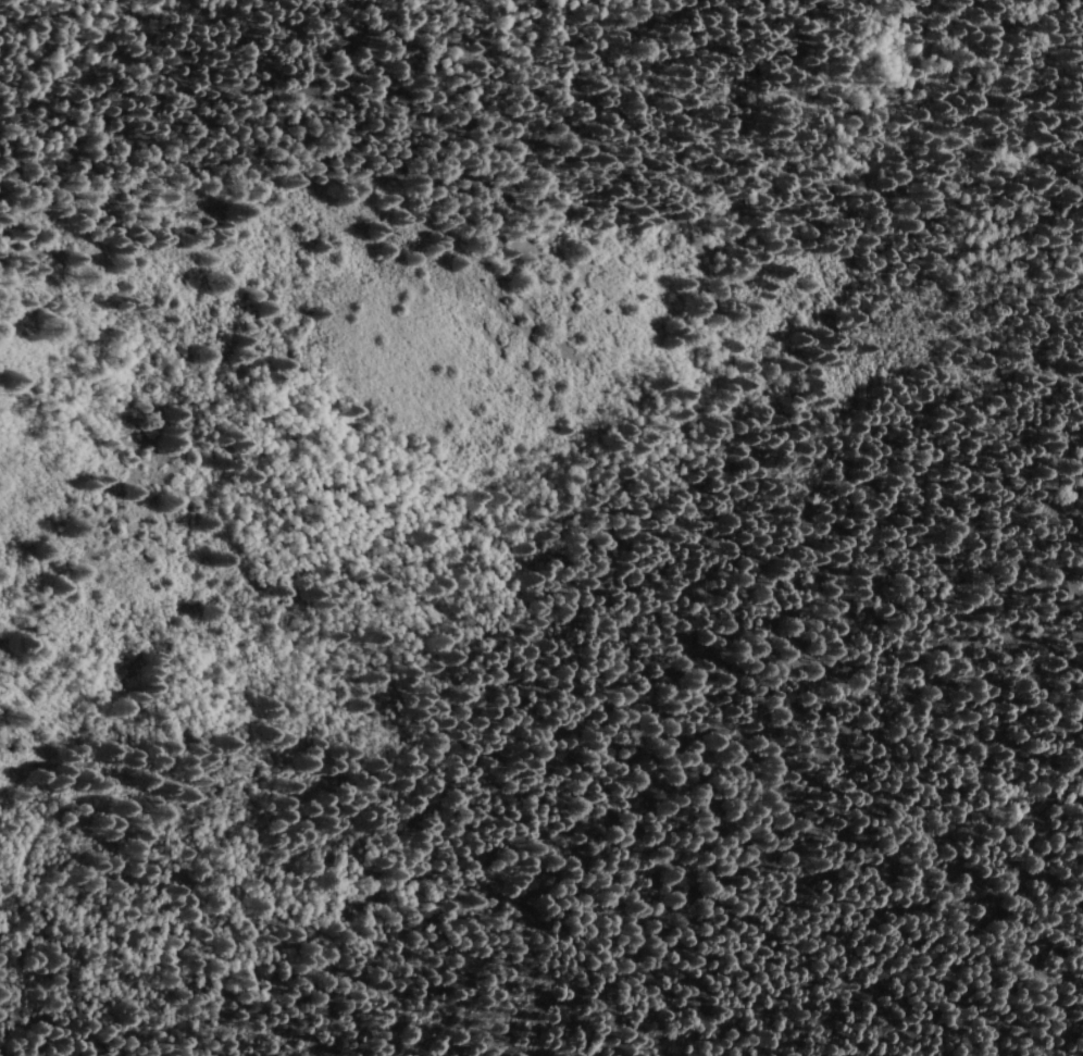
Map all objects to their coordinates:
road: (573, 623)

